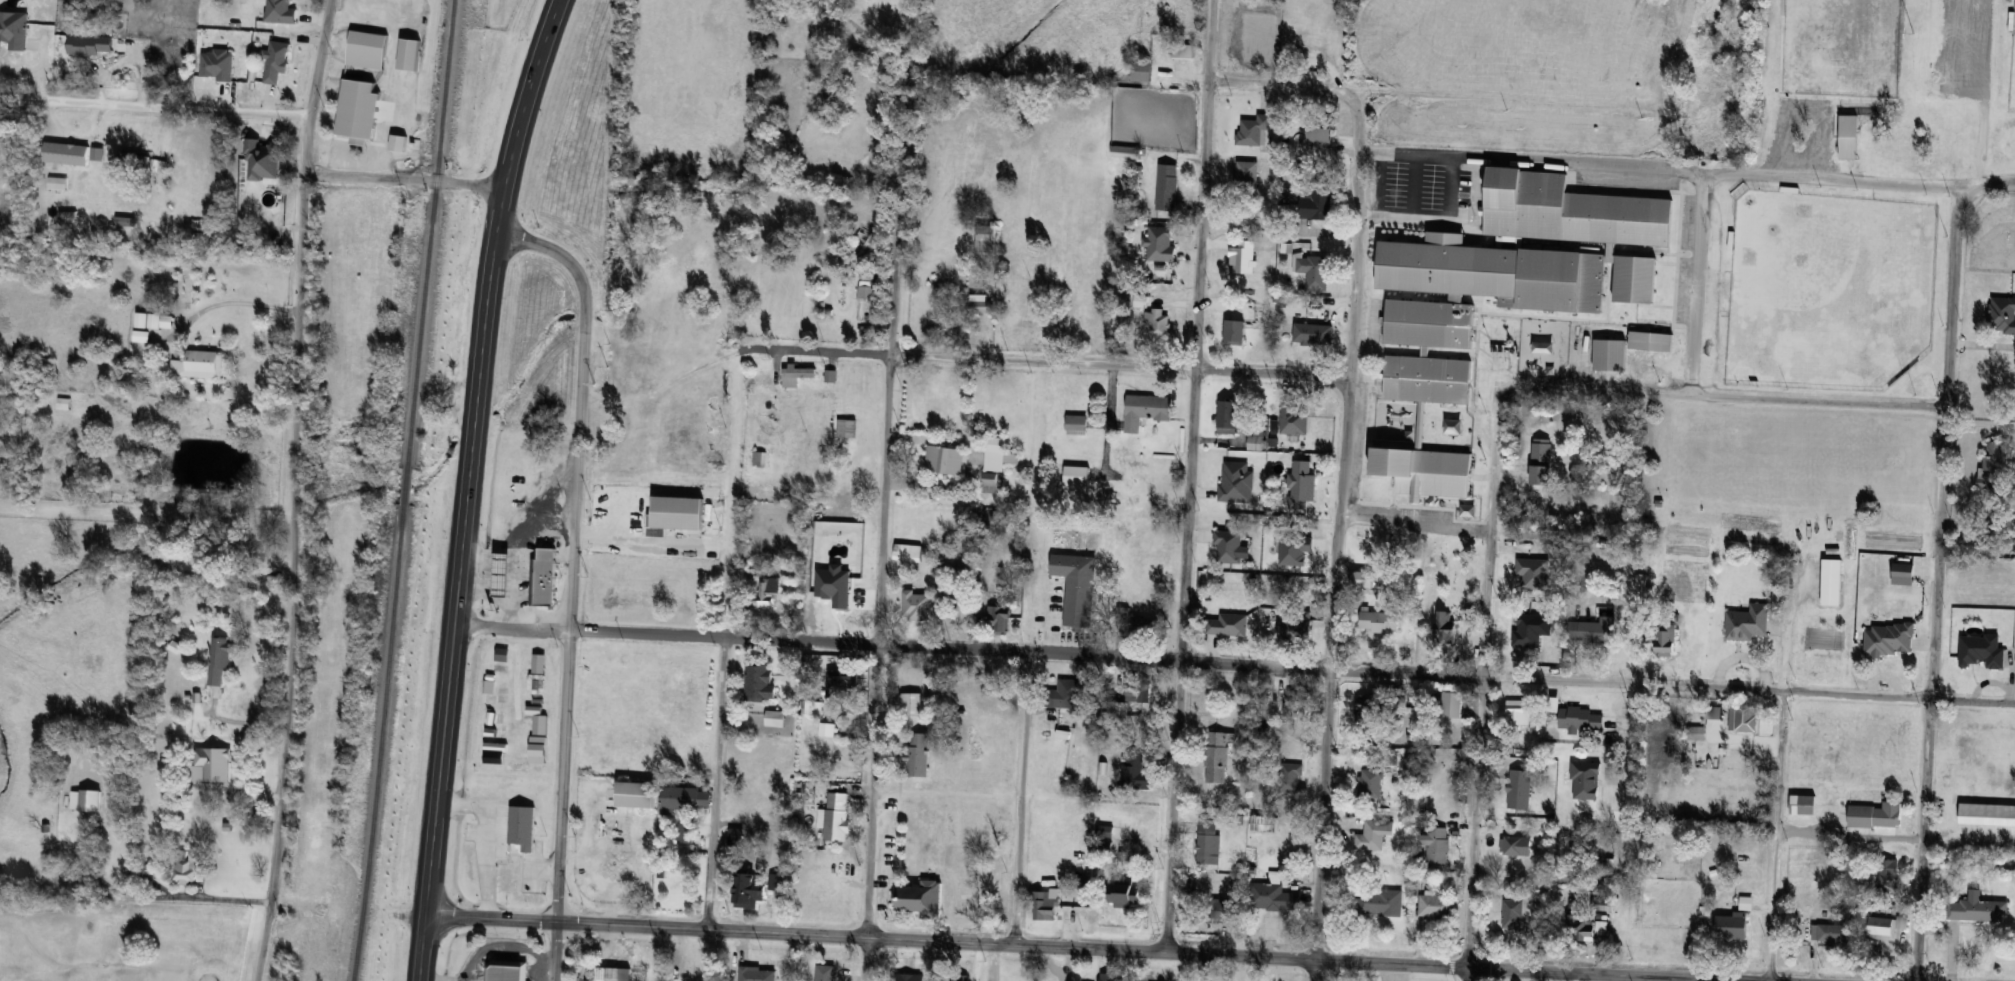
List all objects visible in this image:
building: (1254, 36)
building: (1293, 43)
building: (367, 49)
building: (1183, 51)
building: (1318, 55)
building: (1141, 71)
road: (1282, 83)
road: (154, 106)
building: (1705, 109)
building: (358, 114)
building: (1866, 116)
road: (522, 117)
building: (1253, 129)
building: (1321, 132)
building: (1952, 138)
building: (1895, 145)
building: (1125, 152)
building: (66, 153)
building: (133, 162)
building: (158, 166)
road: (1665, 170)
building: (1246, 178)
road: (406, 180)
road: (1203, 183)
road: (1987, 184)
building: (1167, 186)
road: (1411, 188)
building: (1317, 203)
road: (1433, 221)
building: (1562, 237)
building: (985, 238)
building: (1160, 244)
building: (1313, 271)
road: (1691, 283)
building: (1234, 291)
road: (1952, 301)
building: (981, 304)
building: (2002, 314)
building: (154, 319)
building: (1156, 322)
building: (1235, 331)
building: (1313, 333)
building: (1610, 354)
road: (1043, 360)
building: (198, 363)
building: (795, 374)
building: (830, 375)
building: (762, 379)
road: (1351, 383)
road: (1725, 395)
building: (63, 402)
building: (1421, 407)
building: (1145, 409)
building: (1227, 416)
building: (682, 418)
building: (1293, 422)
building: (1076, 423)
building: (845, 427)
building: (1255, 439)
building: (997, 453)
building: (759, 458)
building: (944, 459)
building: (1541, 461)
building: (1992, 464)
building: (1076, 475)
building: (1236, 481)
building: (989, 482)
building: (1300, 484)
road: (294, 490)
road: (884, 490)
railway: (406, 491)
road: (1414, 524)
road: (1490, 529)
building: (907, 552)
building: (1904, 573)
building: (503, 574)
road: (459, 579)
building: (1360, 579)
building: (543, 581)
road: (571, 581)
building: (1832, 581)
building: (1077, 588)
building: (765, 595)
building: (916, 605)
building: (996, 614)
building: (1378, 620)
building: (1748, 622)
building: (1295, 624)
building: (1145, 625)
building: (1445, 625)
building: (1592, 629)
building: (1209, 632)
road: (1785, 635)
road: (722, 636)
building: (1889, 639)
building: (1666, 641)
building: (220, 659)
road: (1181, 659)
building: (1975, 662)
road: (1234, 663)
building: (842, 676)
building: (760, 682)
building: (2007, 683)
road: (1931, 693)
building: (1069, 696)
building: (1129, 700)
building: (1295, 702)
building: (910, 704)
building: (811, 706)
building: (1370, 708)
building: (1517, 712)
building: (1743, 717)
building: (775, 718)
building: (918, 754)
building: (1217, 757)
building: (213, 771)
building: (1135, 773)
building: (1284, 777)
building: (1371, 783)
building: (1518, 789)
building: (636, 794)
building: (680, 797)
road: (1024, 799)
building: (84, 800)
building: (1803, 804)
building: (1891, 813)
building: (1986, 814)
building: (835, 817)
road: (1474, 820)
building: (1263, 823)
road: (1320, 824)
building: (981, 825)
building: (522, 827)
building: (1105, 831)
building: (1374, 834)
road: (1849, 834)
building: (316, 836)
road: (1775, 836)
building: (736, 837)
building: (1208, 842)
building: (1514, 843)
building: (1437, 844)
building: (1663, 857)
building: (952, 861)
building: (1123, 861)
building: (615, 865)
building: (186, 868)
building: (1886, 875)
building: (677, 886)
building: (749, 891)
road: (202, 893)
building: (1124, 895)
building: (1272, 897)
building: (922, 899)
building: (1377, 902)
building: (1045, 905)
building: (961, 906)
building: (1436, 906)
building: (986, 909)
building: (1978, 910)
building: (1511, 916)
road: (491, 920)
building: (1732, 926)
building: (1884, 927)
building: (1580, 928)
building: (1831, 933)
road: (484, 946)
road: (421, 950)
road: (1130, 950)
road: (994, 963)
road: (1204, 967)
building: (507, 971)
building: (823, 972)
building: (609, 974)
building: (757, 974)
road: (1466, 974)
building: (1106, 976)
road: (1558, 976)
building: (909, 977)
building: (958, 977)

